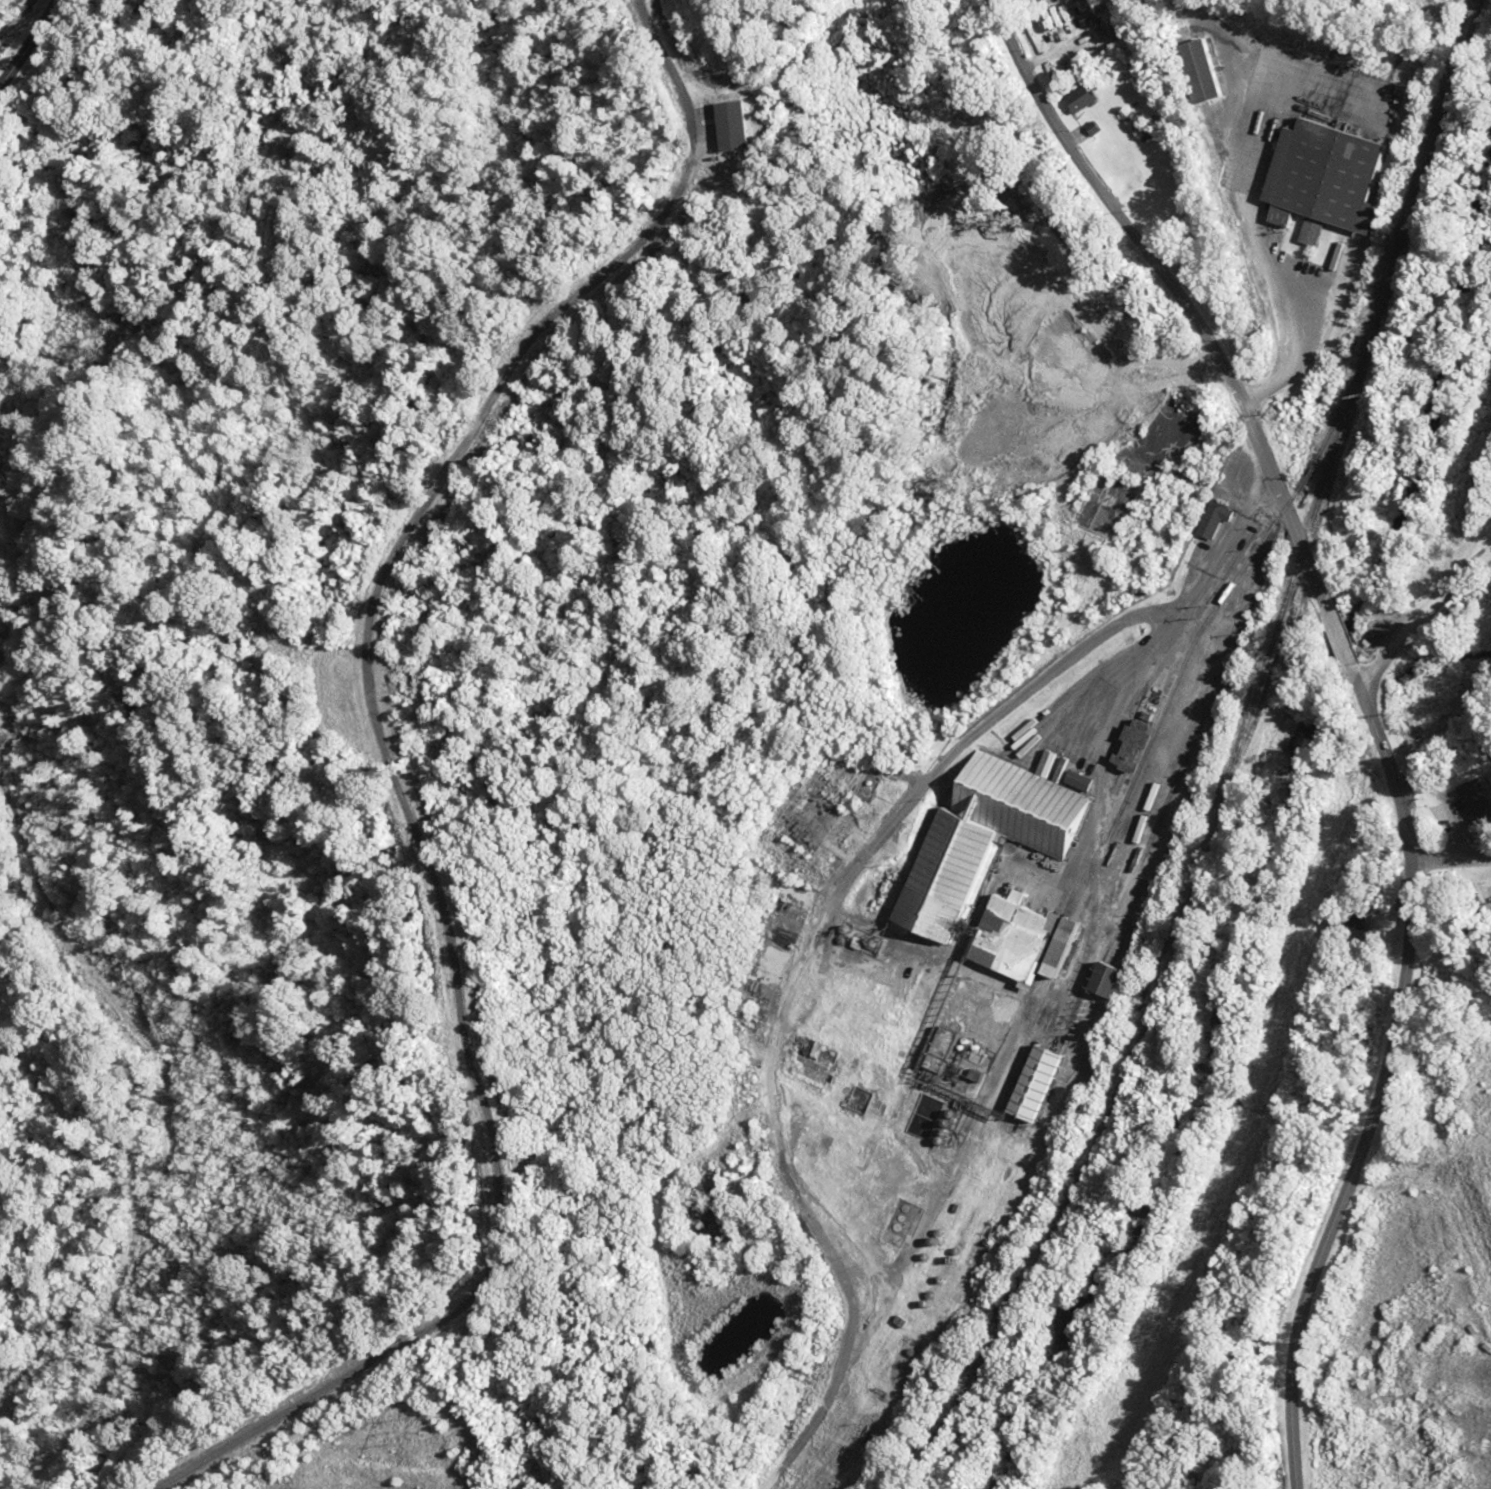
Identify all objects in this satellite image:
road: (12, 18)
building: (1205, 71)
building: (1086, 98)
building: (737, 125)
railway: (1423, 167)
building: (1330, 180)
building: (1215, 519)
road: (1423, 617)
railway: (1183, 669)
railway: (1203, 682)
road: (1371, 711)
road: (1453, 858)
building: (963, 866)
building: (1357, 925)
railway: (1168, 929)

